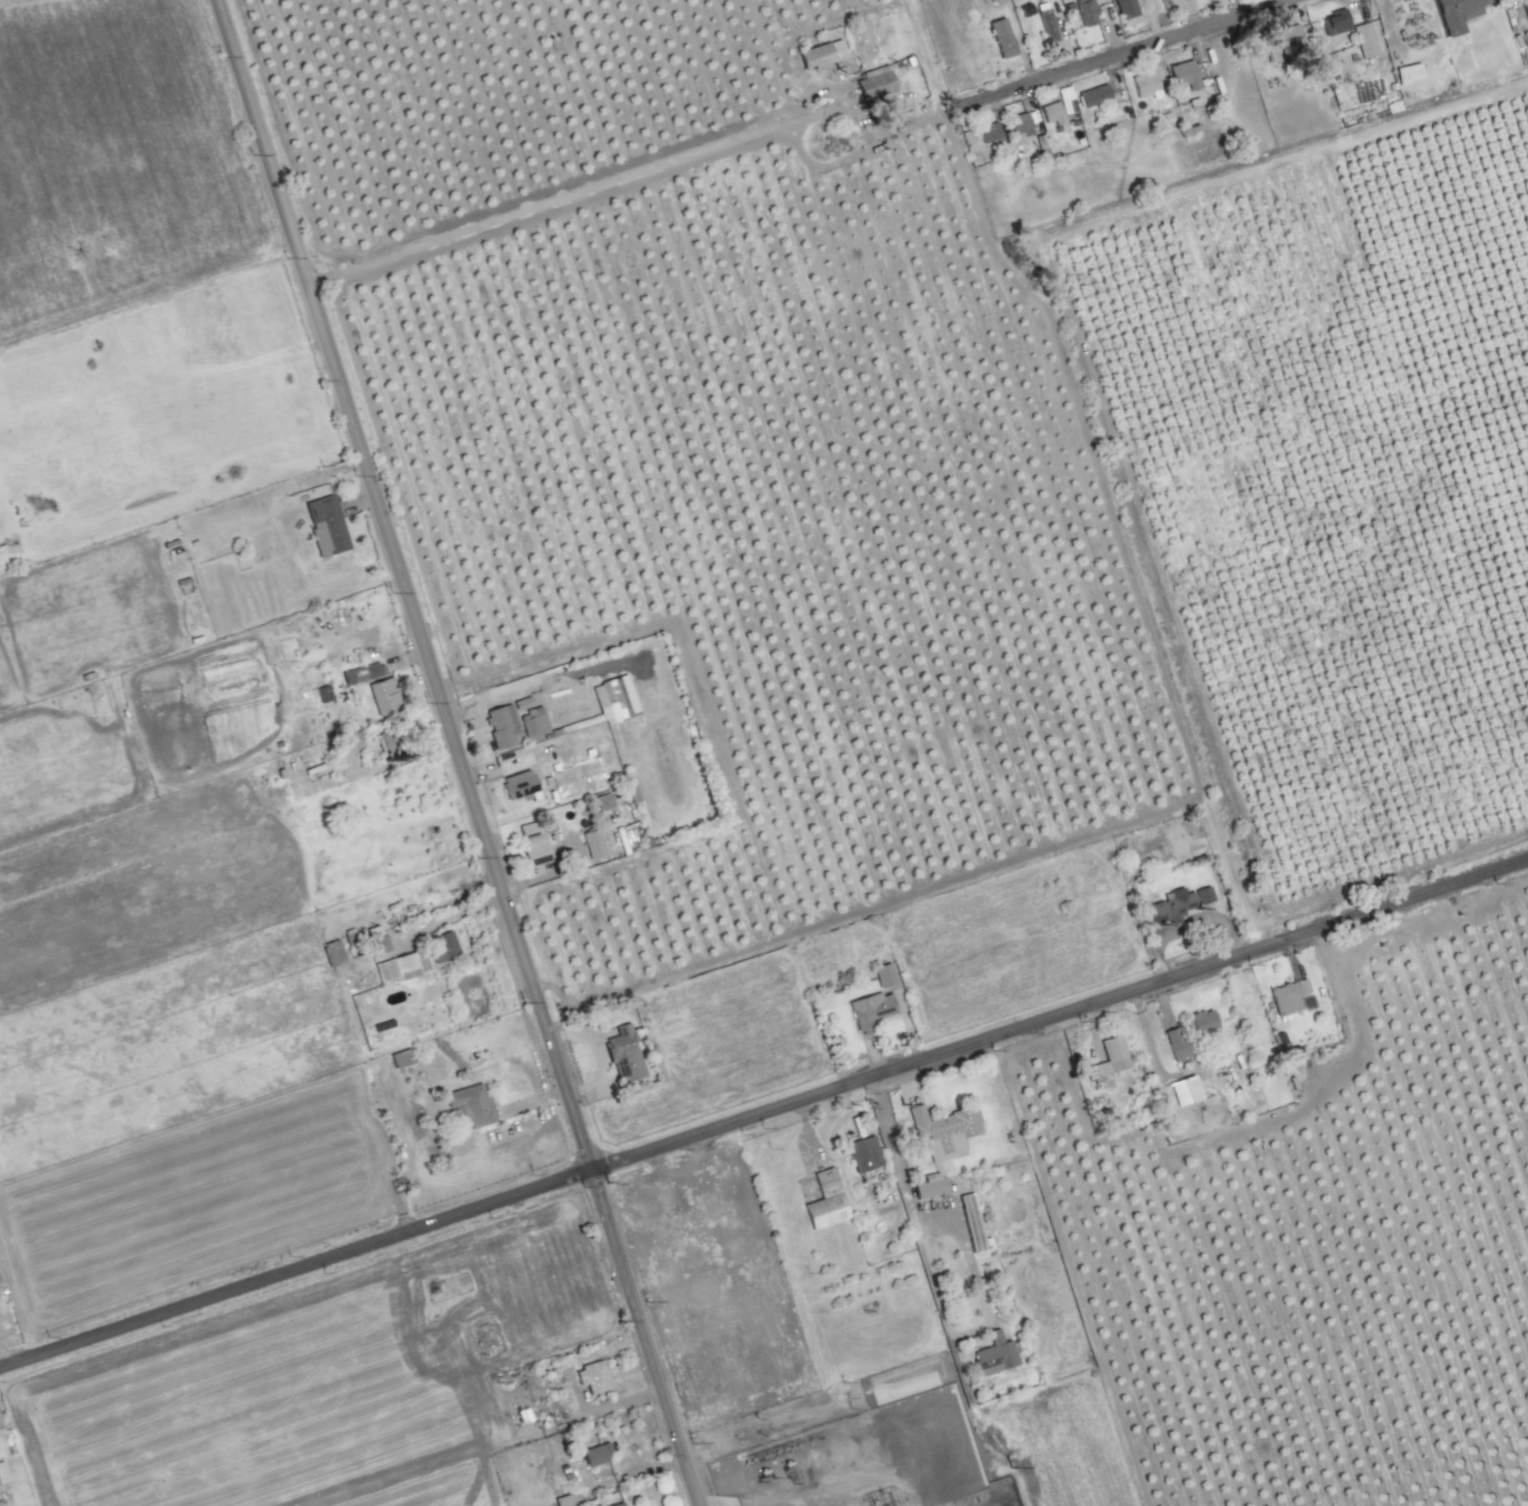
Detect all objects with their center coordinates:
building: (1527, 6)
building: (1083, 11)
building: (1459, 13)
building: (1335, 23)
building: (1049, 30)
building: (1002, 39)
building: (1290, 39)
building: (1365, 41)
building: (821, 54)
road: (1122, 54)
building: (1265, 59)
building: (1409, 75)
building: (1185, 77)
building: (874, 83)
building: (1145, 86)
building: (1064, 98)
building: (1095, 98)
building: (1366, 106)
building: (1053, 115)
building: (1020, 125)
building: (988, 134)
road: (541, 208)
building: (19, 493)
building: (325, 526)
building: (362, 673)
building: (322, 693)
building: (383, 696)
building: (615, 698)
building: (531, 718)
building: (500, 725)
building: (351, 741)
building: (387, 741)
road: (458, 752)
building: (519, 784)
building: (559, 788)
building: (603, 802)
building: (535, 842)
building: (593, 843)
building: (1176, 905)
building: (378, 942)
building: (441, 946)
building: (332, 953)
building: (402, 966)
building: (885, 974)
building: (1289, 996)
building: (870, 1010)
building: (1200, 1021)
building: (1176, 1043)
building: (624, 1054)
building: (1113, 1055)
building: (1184, 1091)
building: (472, 1104)
road: (763, 1113)
building: (943, 1131)
building: (869, 1156)
building: (729, 1171)
building: (929, 1186)
building: (663, 1196)
building: (824, 1201)
road: (910, 1204)
building: (772, 1266)
building: (680, 1316)
building: (592, 1377)
building: (595, 1455)
power substation: (862, 1460)
building: (2, 1474)
building: (617, 1504)
building: (622, 1504)

